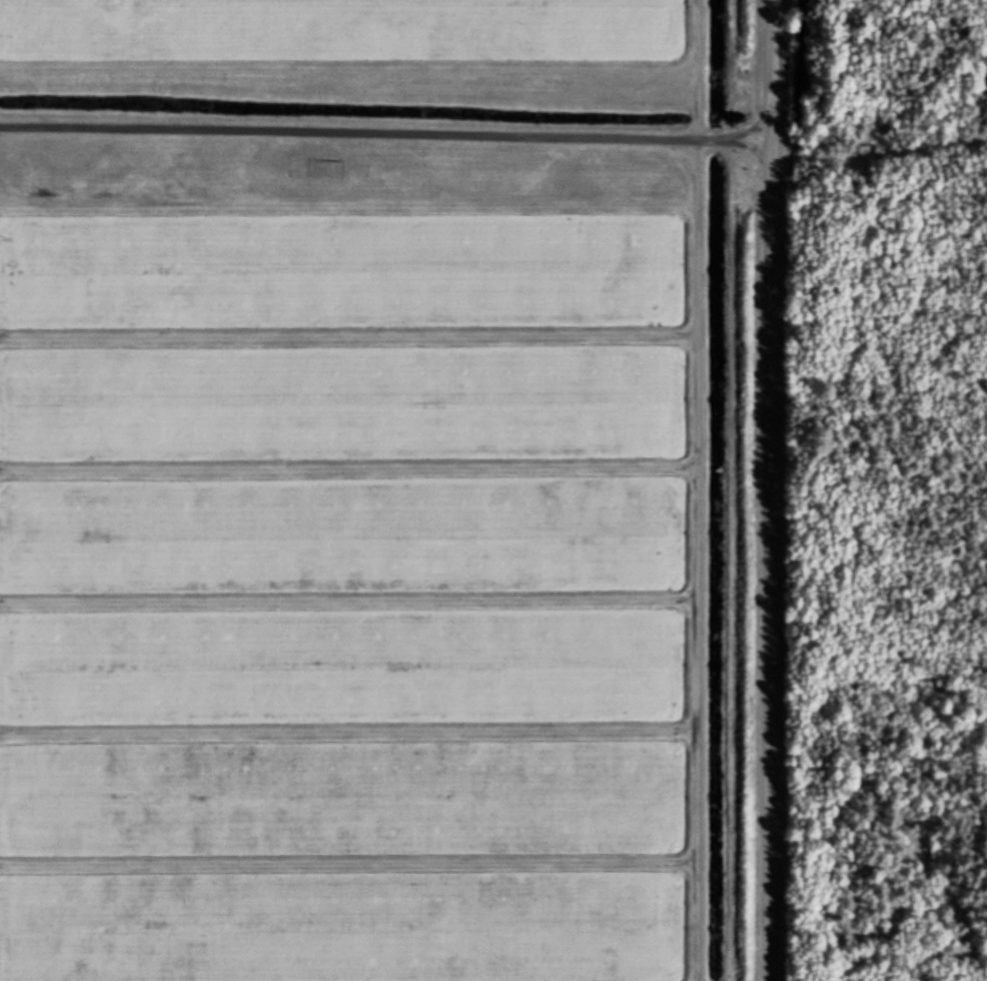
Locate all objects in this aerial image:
road: (386, 145)
building: (316, 168)
crop: (359, 490)
road: (771, 490)

